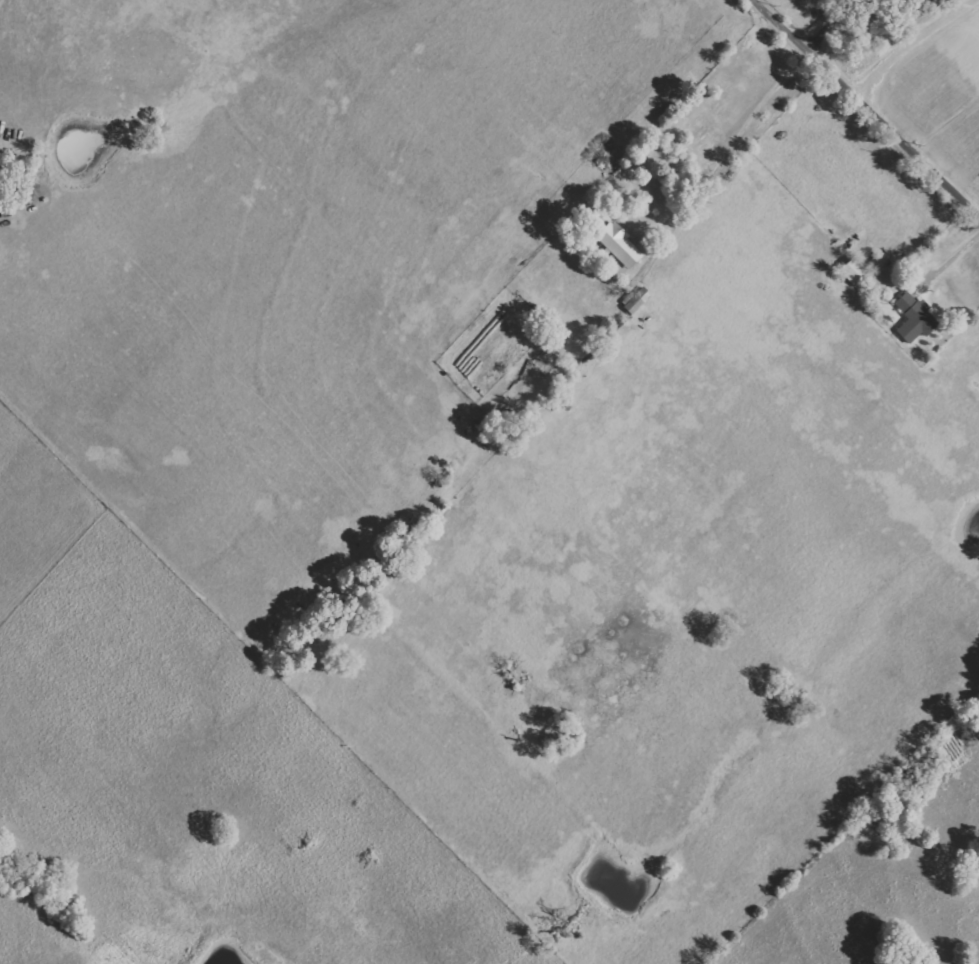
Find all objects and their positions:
road: (829, 21)
road: (871, 103)
road: (691, 169)
building: (620, 245)
road: (951, 255)
building: (916, 318)

